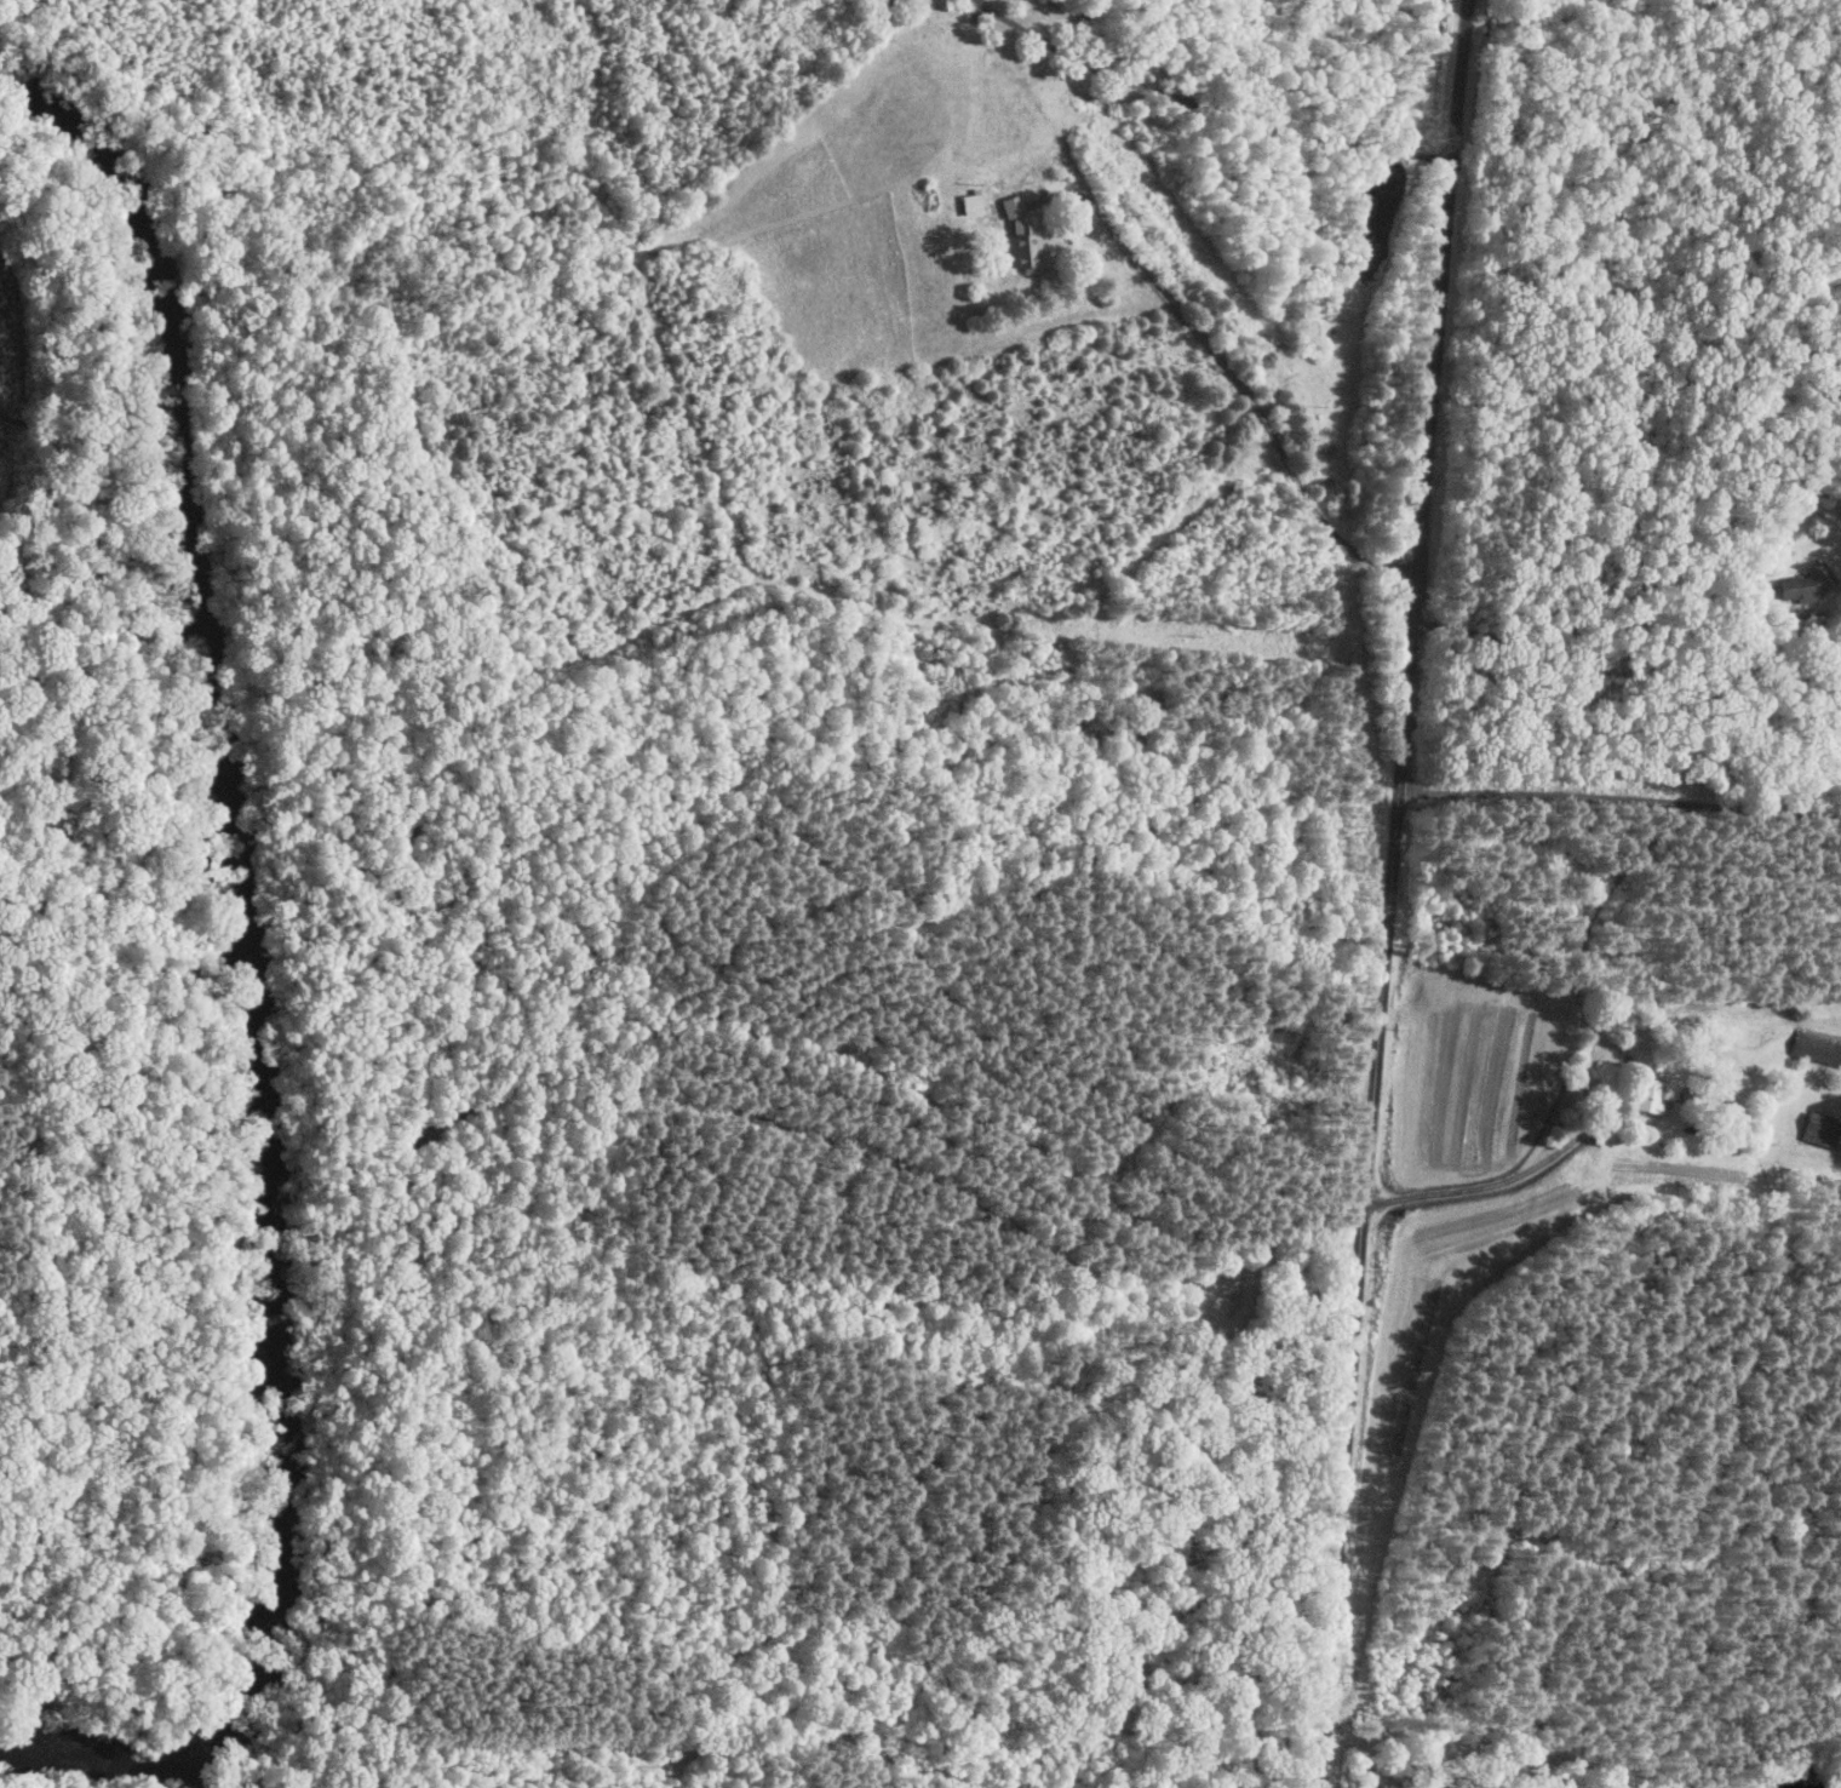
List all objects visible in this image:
road: (1205, 104)
building: (1022, 240)
road: (1148, 306)
road: (1589, 621)
road: (1619, 797)
road: (1390, 894)
river: (250, 981)
building: (1642, 1094)
building: (1814, 1129)
road: (1487, 1184)

